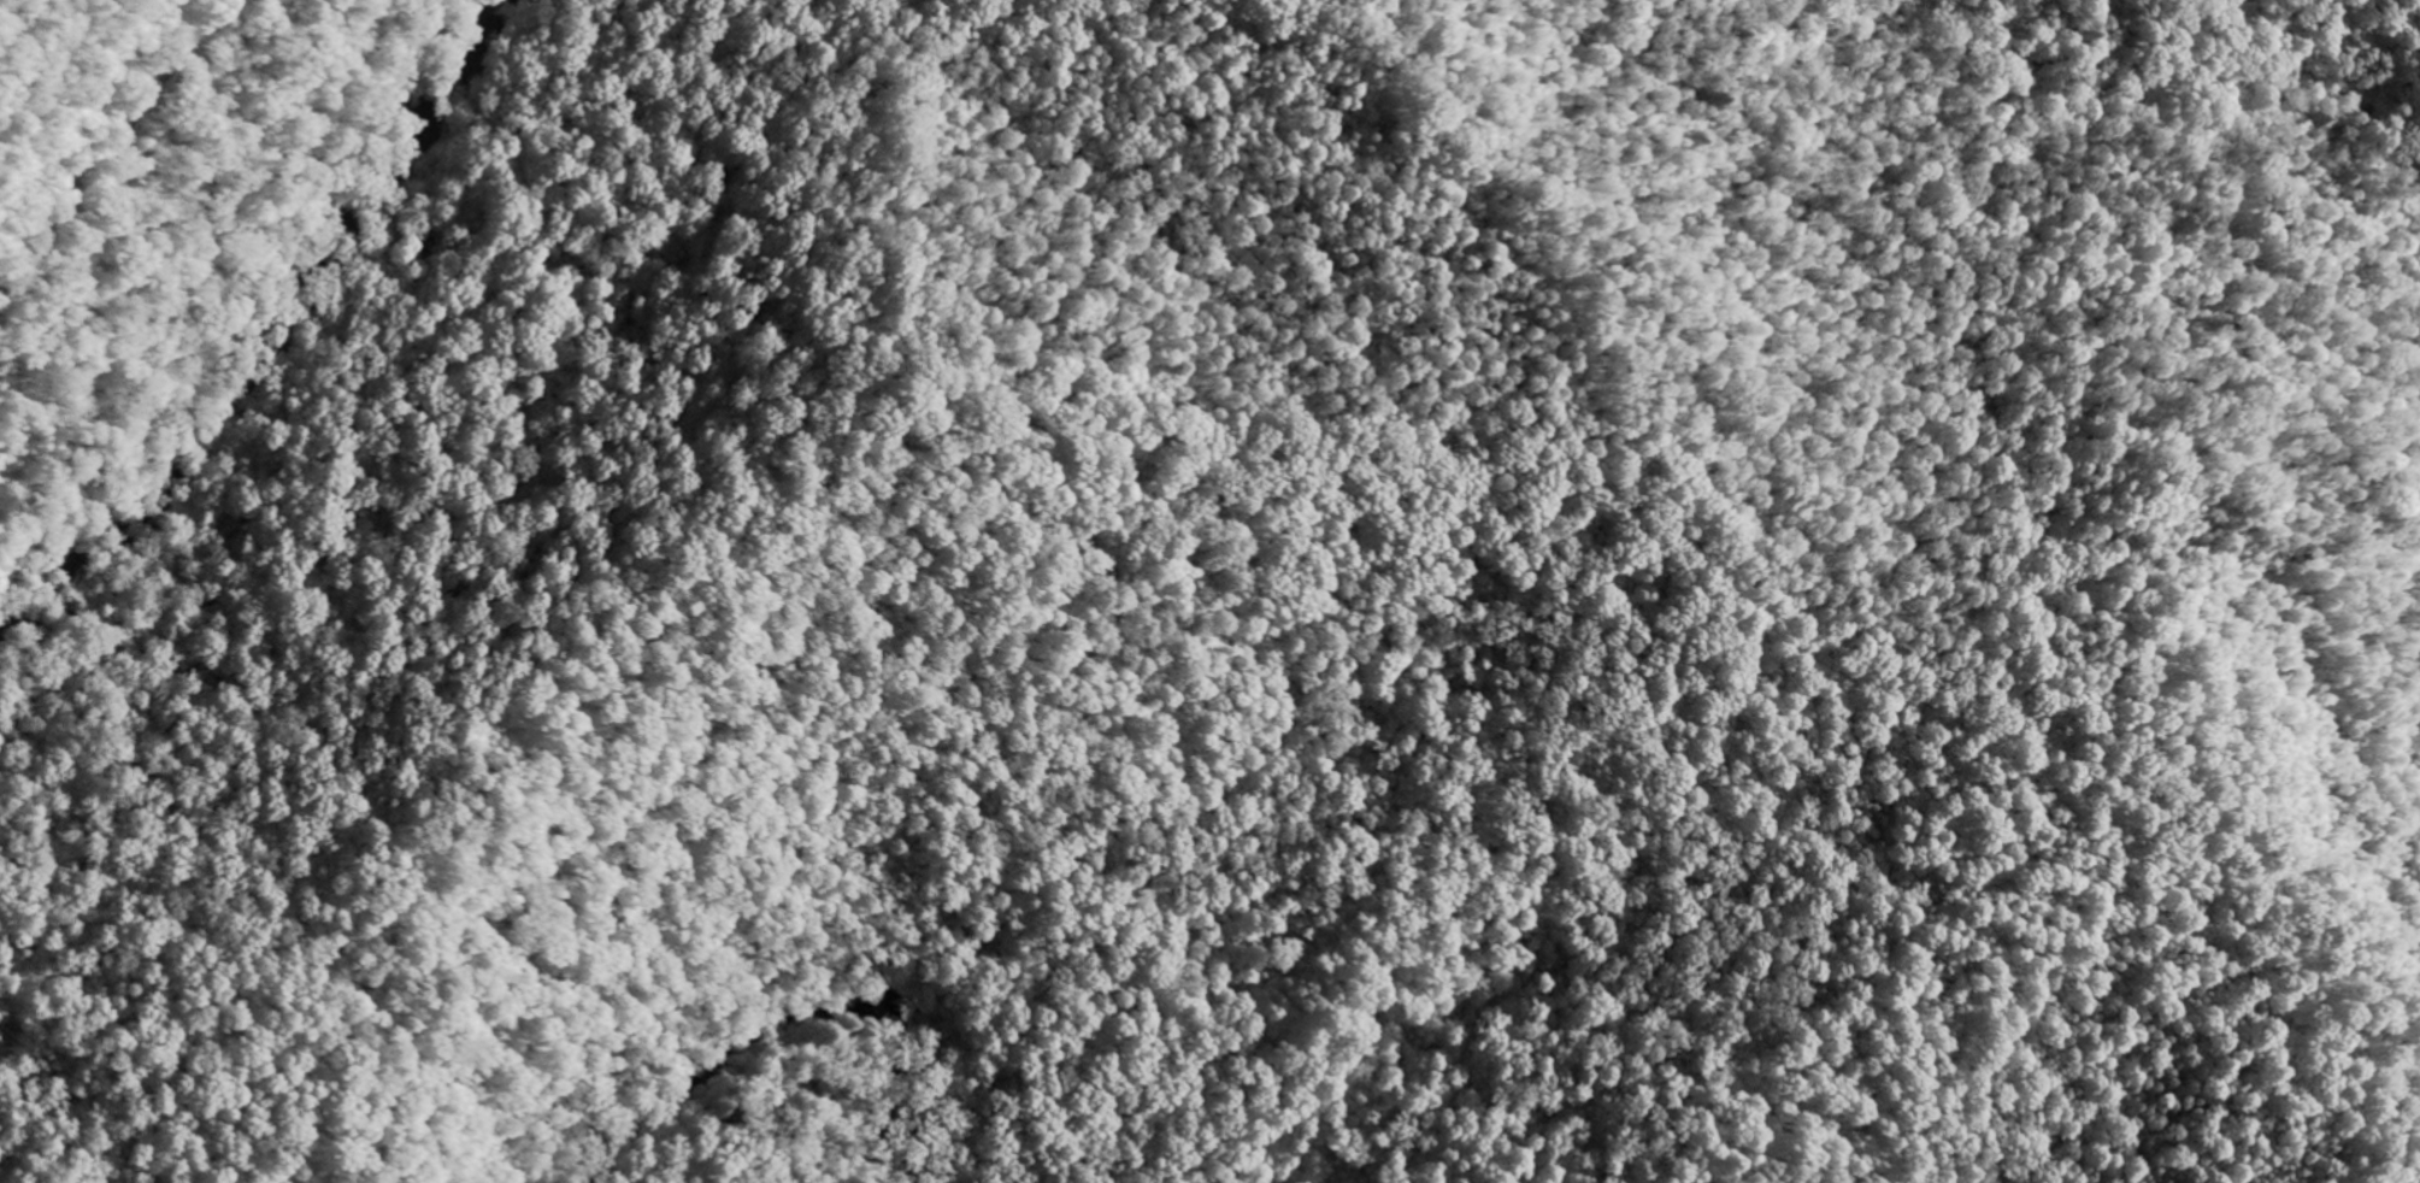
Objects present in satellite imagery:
road: (107, 145)
road: (190, 258)

